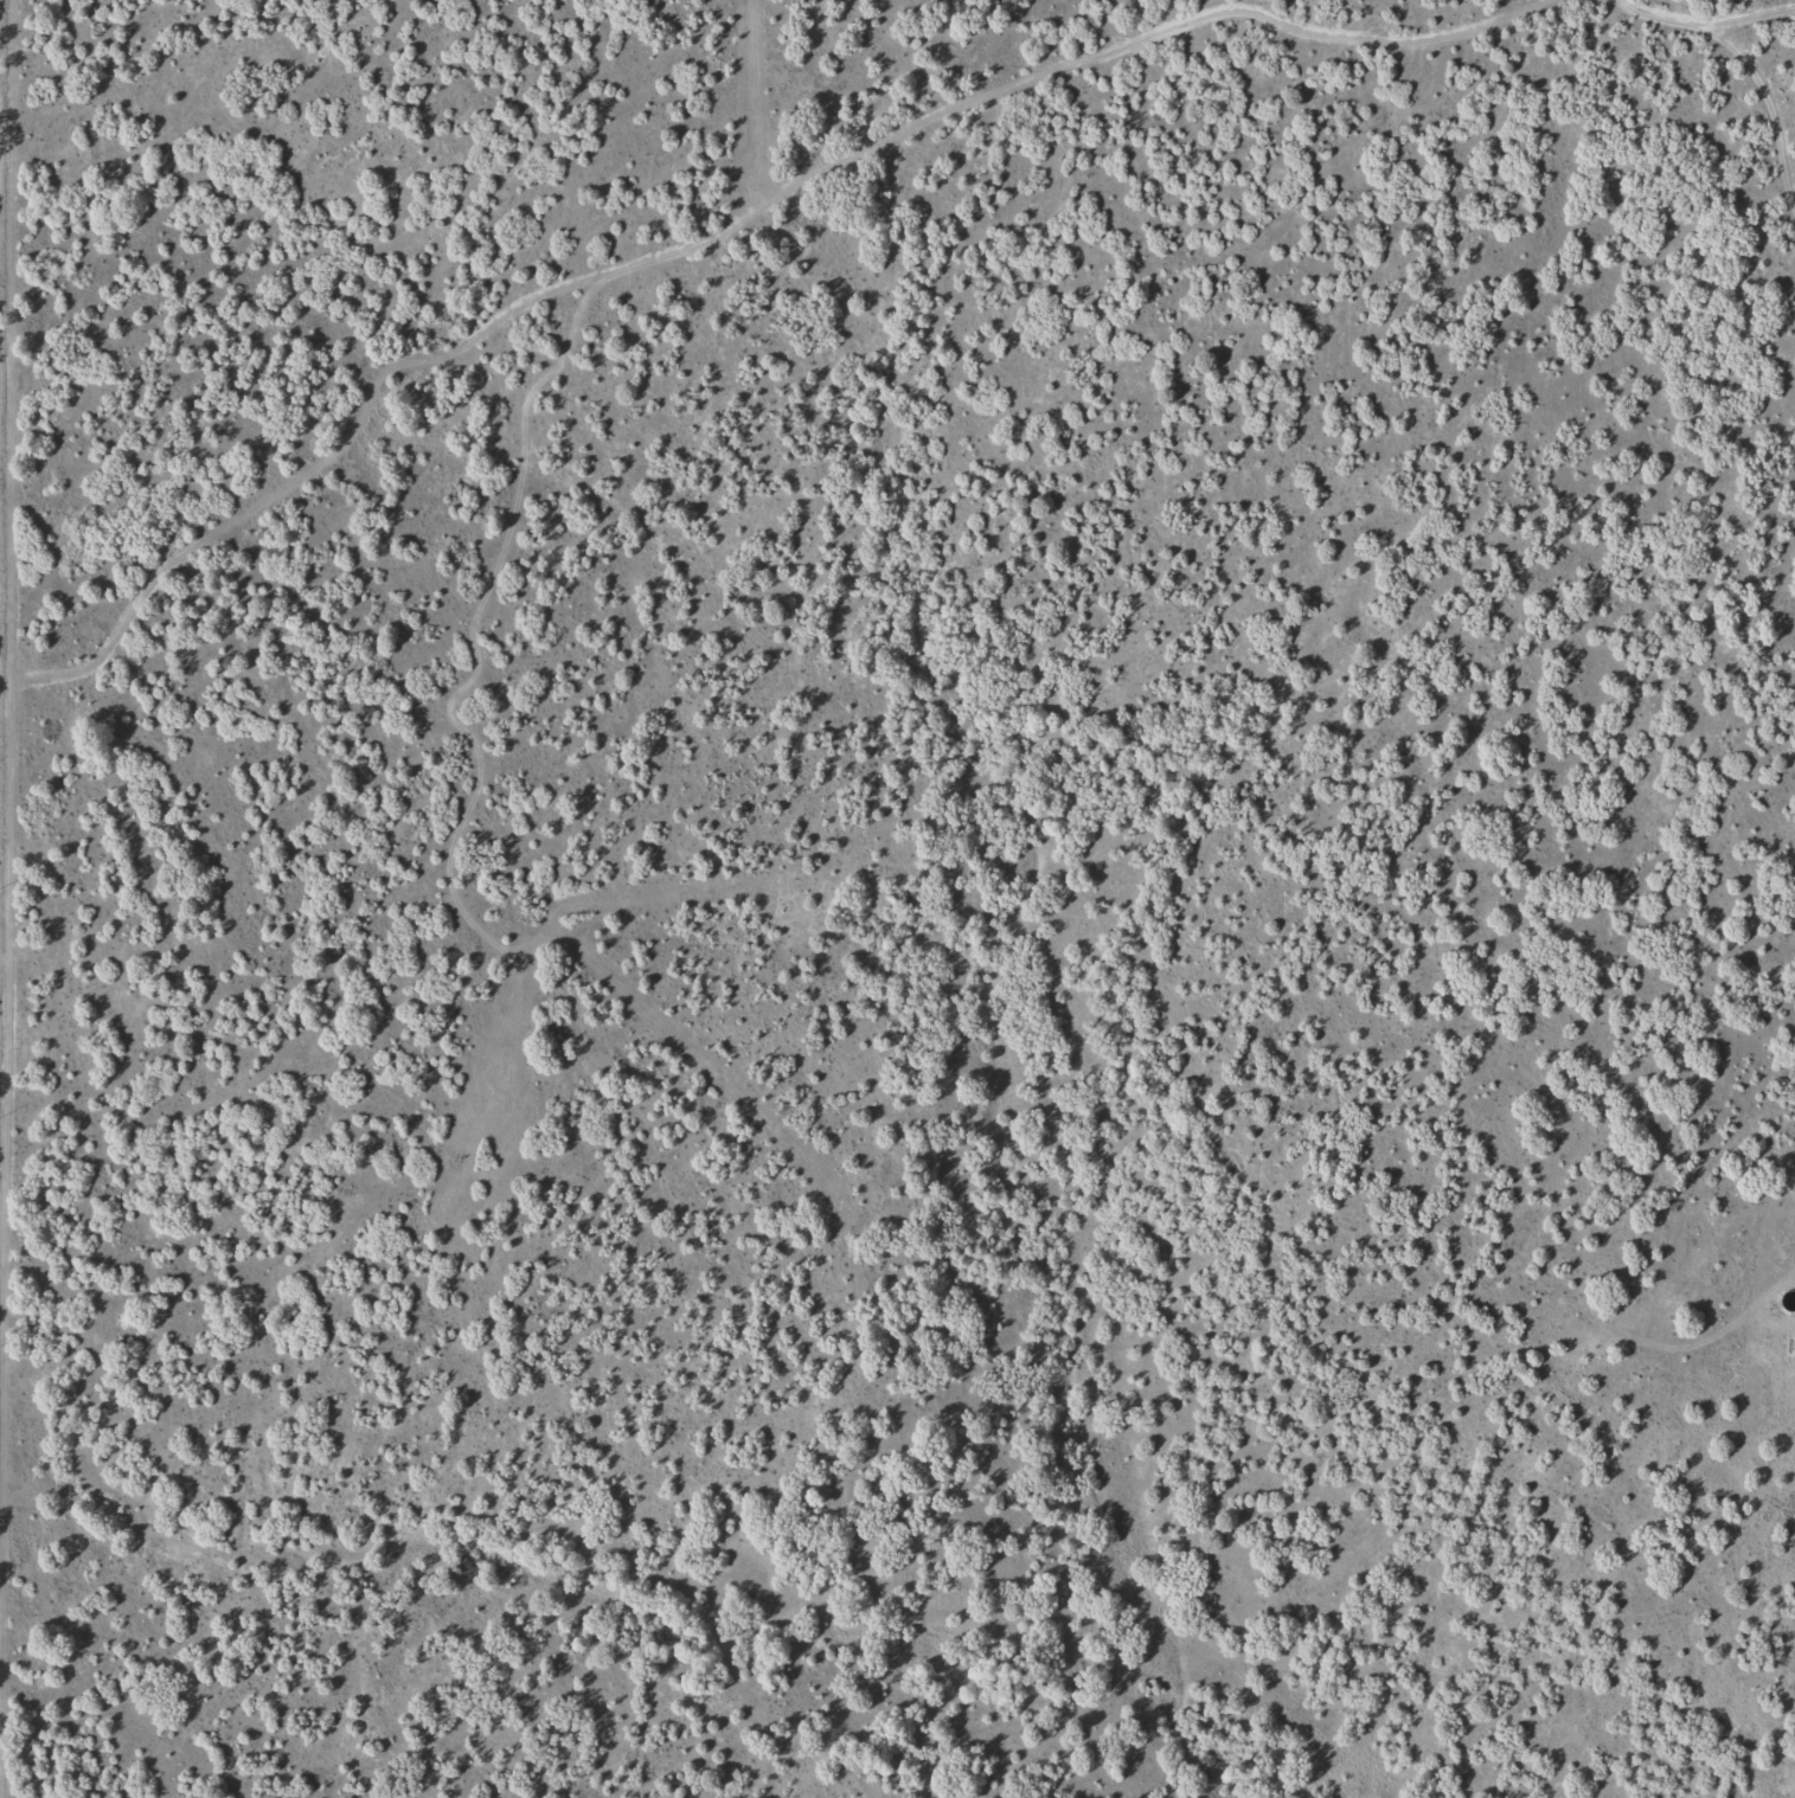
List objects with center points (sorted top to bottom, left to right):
road: (1769, 88)
road: (814, 173)

